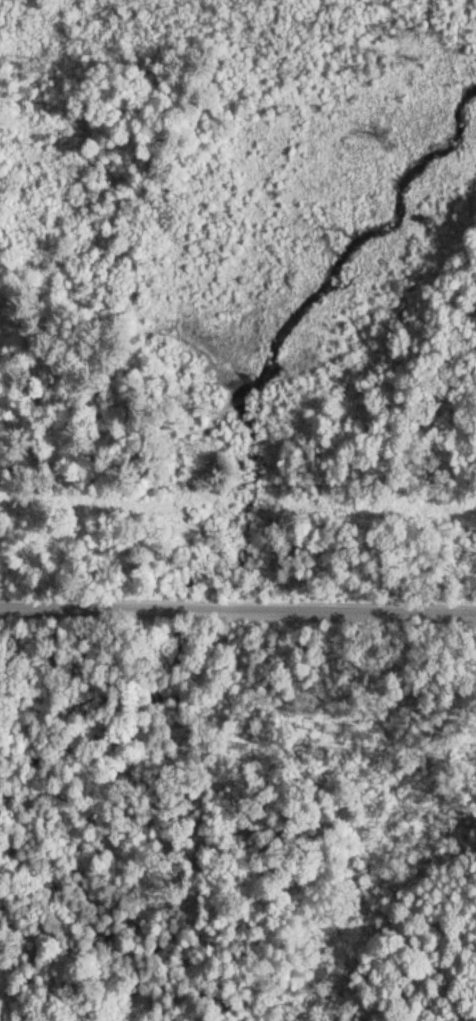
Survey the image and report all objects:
road: (238, 609)

